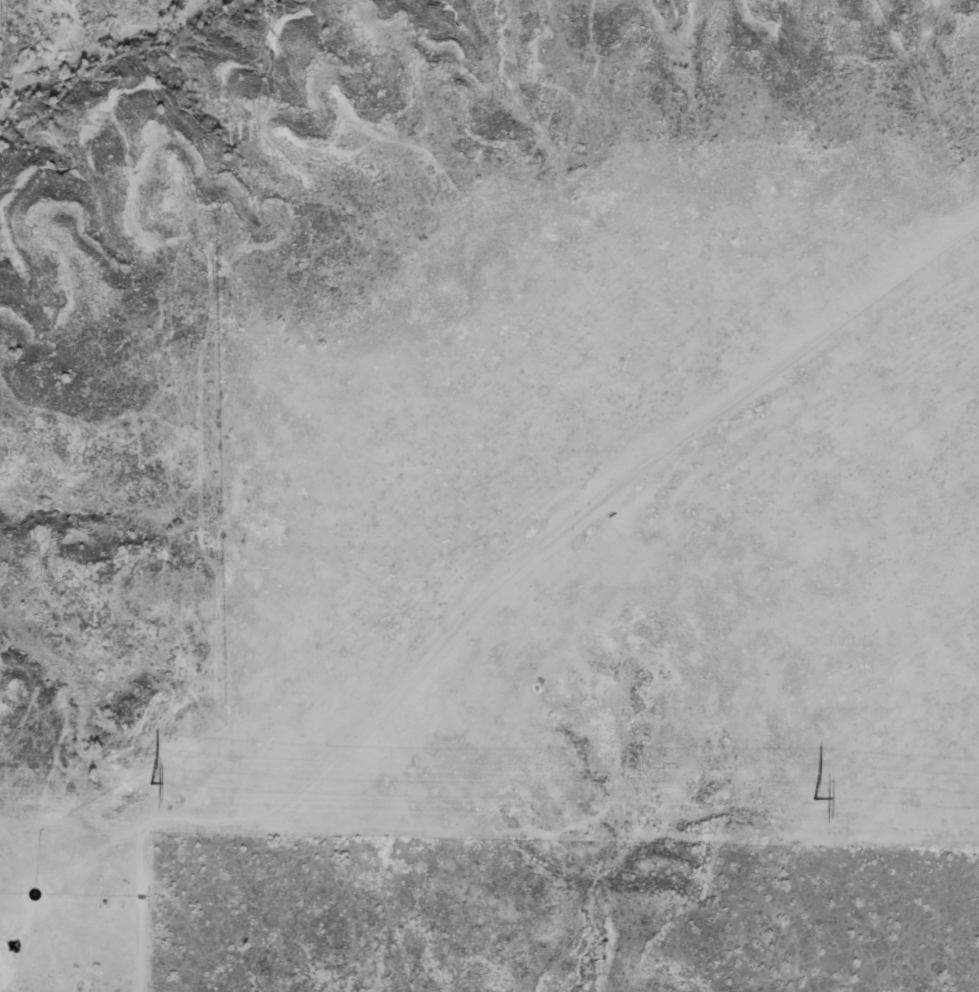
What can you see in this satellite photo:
road: (488, 586)
power tower: (152, 781)
power tower: (817, 797)

